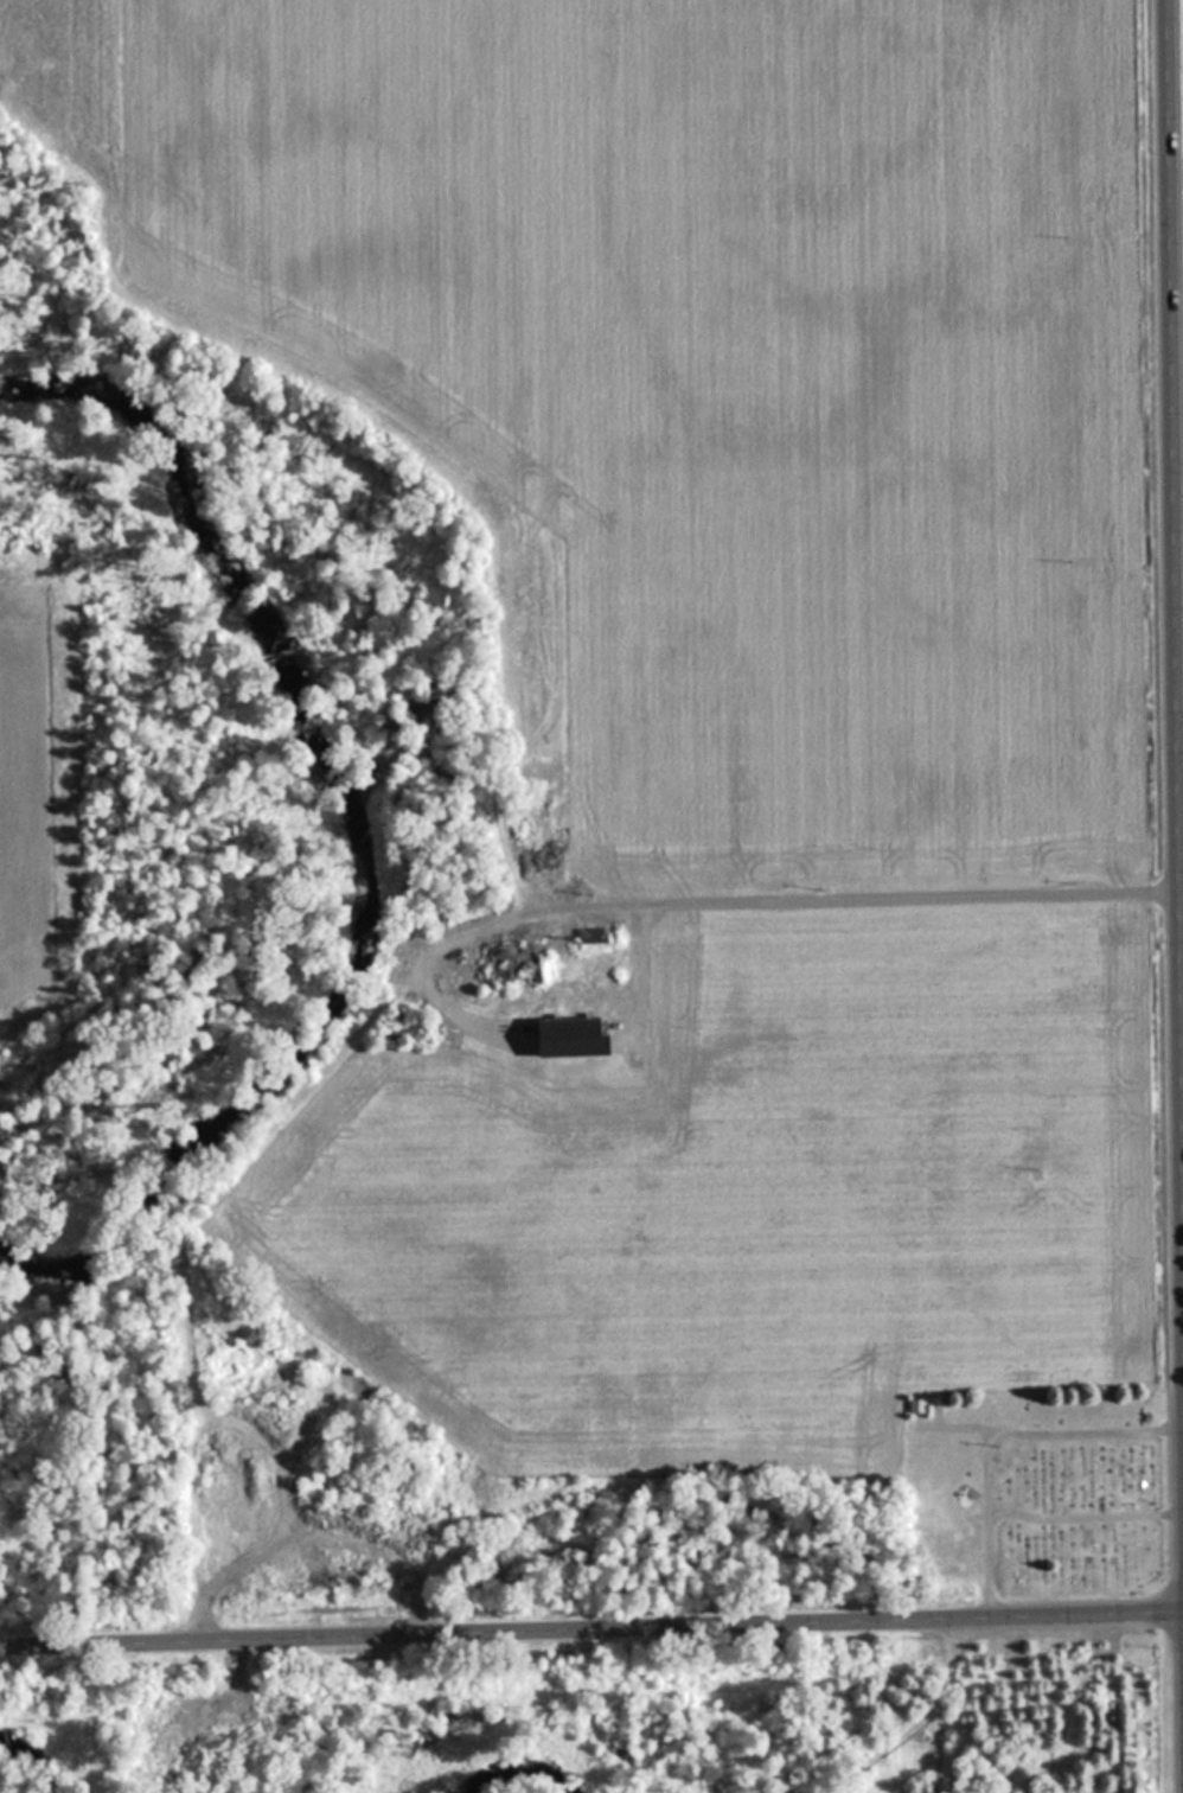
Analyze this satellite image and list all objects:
road: (1175, 669)
river: (452, 759)
building: (499, 966)
road: (385, 988)
building: (564, 1027)
road: (999, 1435)
park: (1038, 1495)
road: (1083, 1518)
road: (390, 1536)
road: (590, 1623)
river: (34, 1773)
river: (507, 1778)

